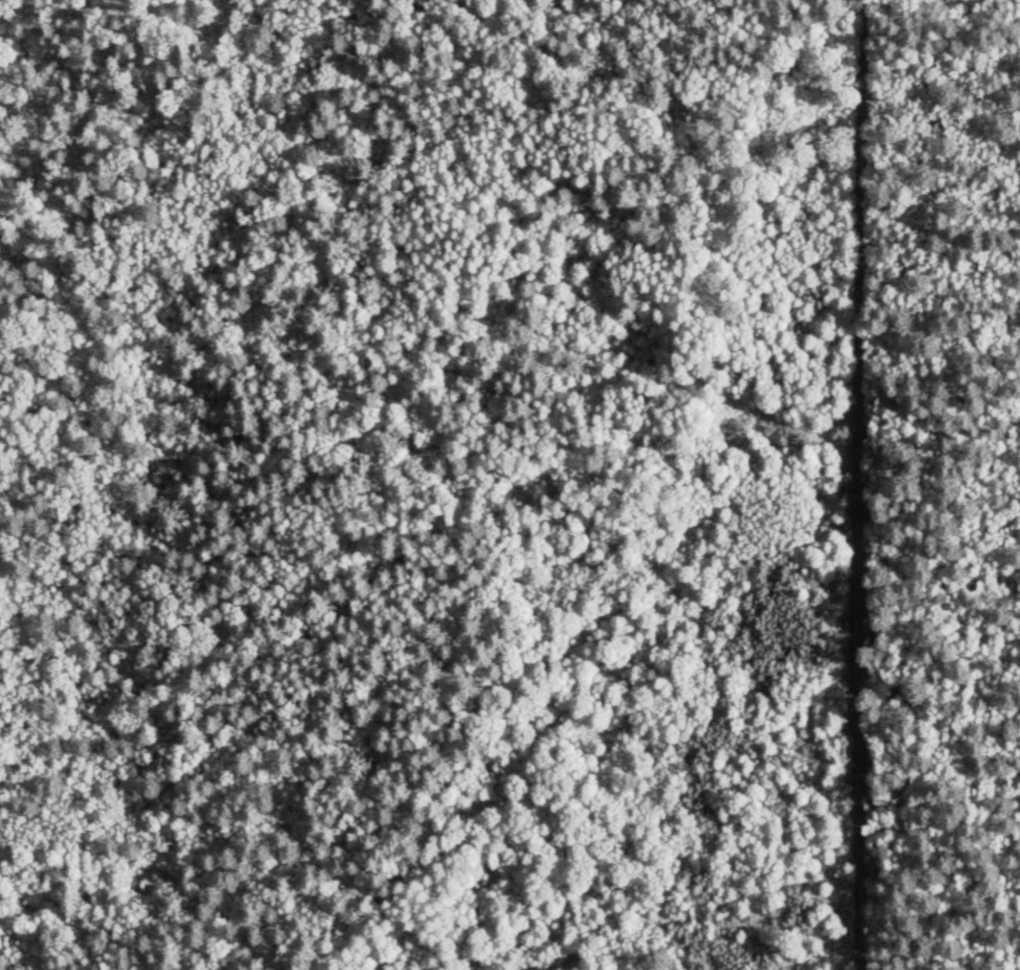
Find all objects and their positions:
road: (861, 485)

